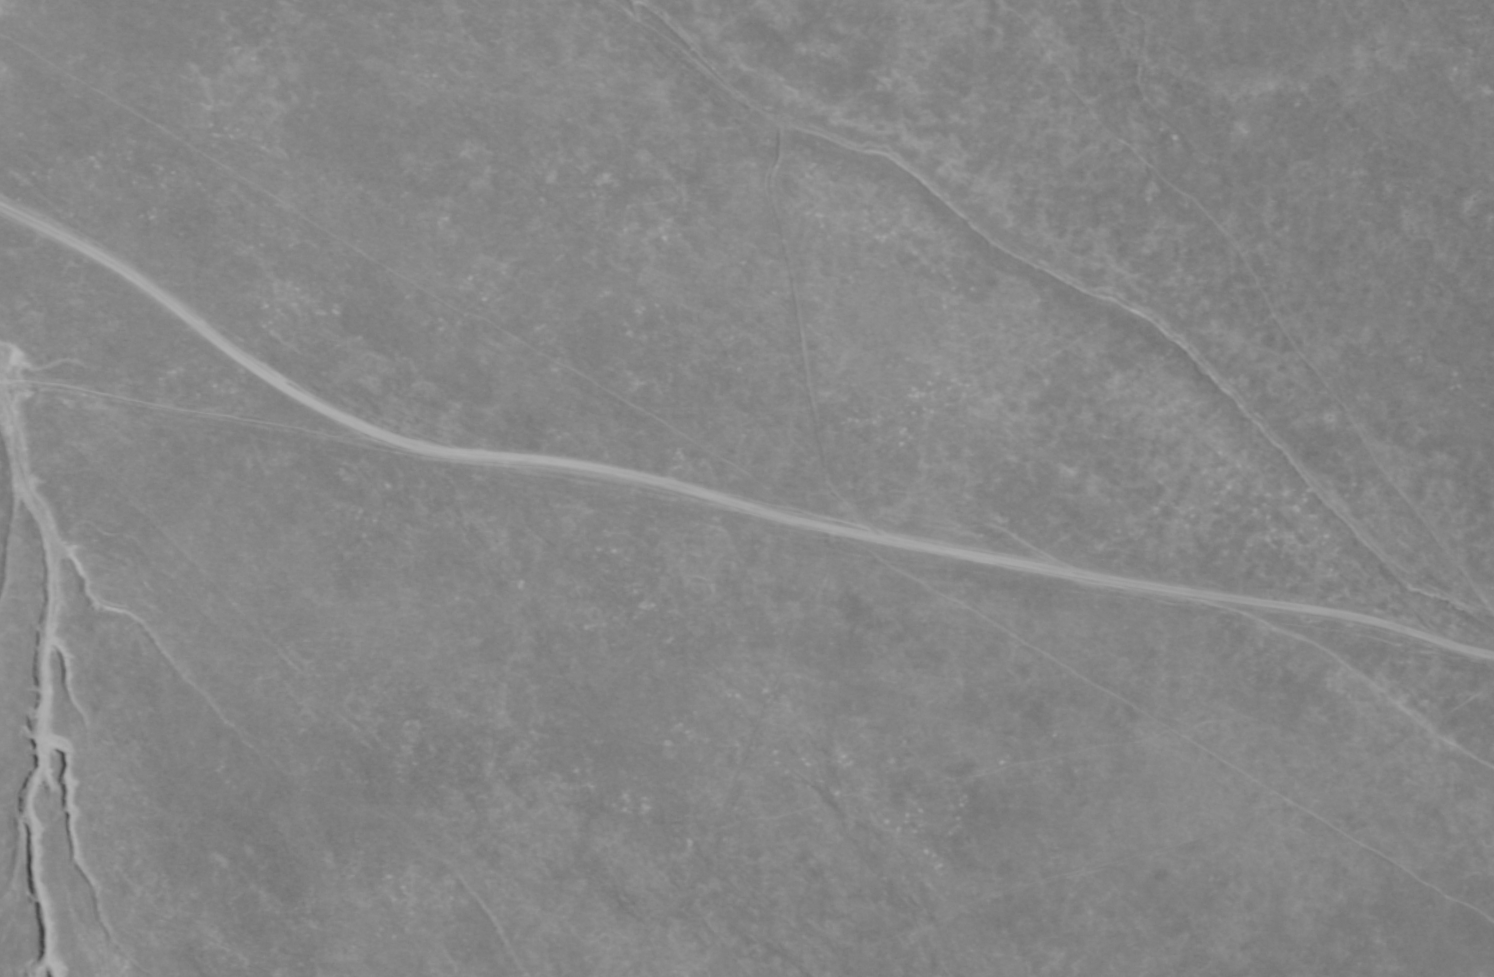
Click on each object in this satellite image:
road: (719, 507)

